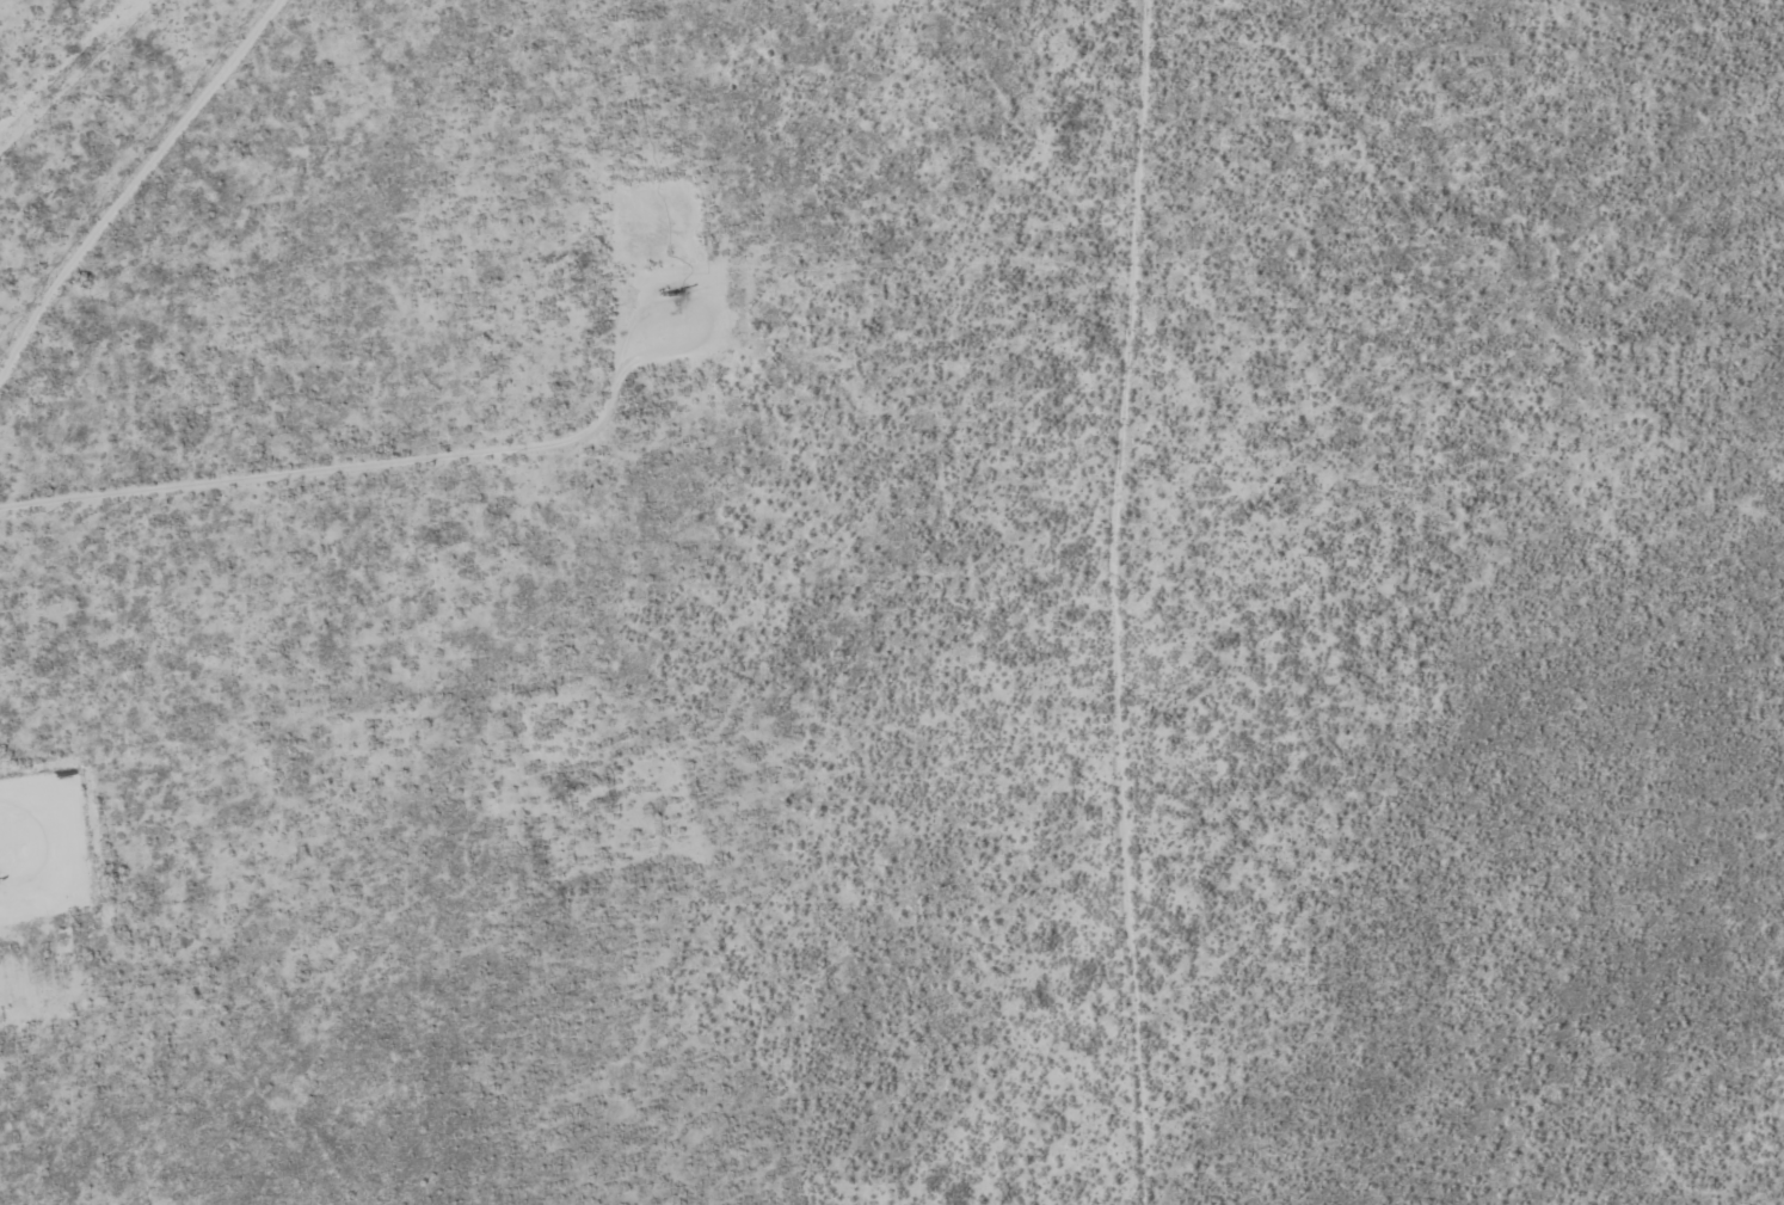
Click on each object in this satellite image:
road: (1113, 603)

